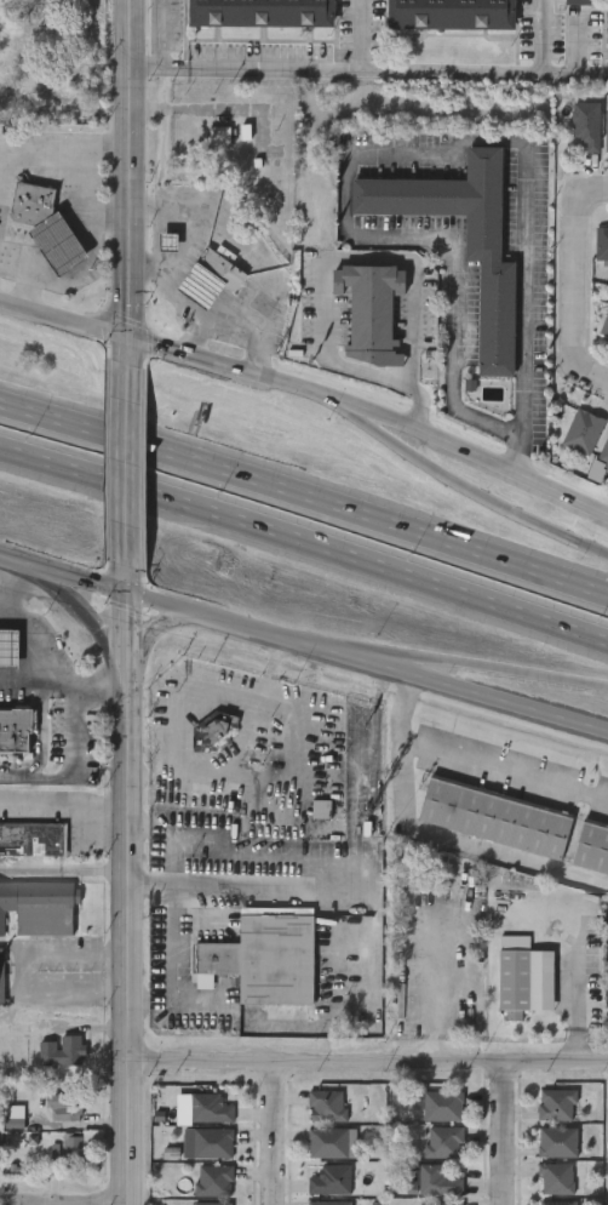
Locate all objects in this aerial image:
building: (581, 1)
building: (258, 12)
building: (448, 13)
building: (606, 22)
road: (157, 36)
road: (357, 36)
road: (546, 36)
road: (368, 74)
building: (46, 88)
building: (15, 101)
building: (40, 104)
building: (585, 124)
building: (604, 130)
building: (573, 137)
building: (207, 148)
road: (406, 158)
road: (127, 169)
road: (76, 172)
road: (591, 189)
building: (27, 204)
road: (199, 217)
building: (601, 242)
building: (56, 244)
gas station: (56, 244)
building: (156, 253)
road: (355, 256)
building: (491, 261)
building: (218, 267)
road: (254, 267)
road: (82, 269)
road: (575, 280)
road: (16, 282)
building: (199, 286)
gas station: (199, 286)
road: (166, 287)
building: (367, 312)
road: (62, 319)
building: (604, 325)
road: (233, 333)
traffic signals: (126, 337)
road: (126, 350)
road: (592, 377)
road: (372, 410)
road: (371, 423)
building: (584, 432)
building: (570, 444)
building: (604, 455)
road: (125, 466)
road: (304, 496)
road: (501, 507)
road: (304, 541)
road: (124, 579)
road: (15, 590)
traffic signals: (124, 593)
road: (85, 618)
road: (147, 638)
road: (304, 643)
building: (7, 649)
gas station: (7, 649)
road: (403, 659)
road: (377, 661)
road: (526, 672)
road: (21, 676)
road: (44, 676)
road: (199, 692)
building: (16, 729)
building: (214, 733)
road: (40, 741)
road: (474, 756)
road: (277, 777)
building: (493, 818)
building: (308, 821)
building: (31, 838)
building: (591, 846)
road: (339, 880)
road: (131, 898)
building: (39, 906)
building: (266, 958)
road: (19, 975)
building: (2, 977)
building: (512, 982)
road: (562, 1007)
building: (63, 1052)
road: (371, 1062)
building: (50, 1063)
building: (441, 1104)
building: (555, 1104)
building: (64, 1106)
building: (325, 1106)
building: (211, 1109)
building: (544, 1115)
building: (52, 1117)
building: (314, 1118)
building: (430, 1118)
building: (197, 1120)
road: (269, 1133)
road: (499, 1133)
building: (5, 1135)
building: (326, 1142)
building: (442, 1142)
building: (556, 1142)
building: (206, 1143)
building: (78, 1144)
building: (430, 1154)
building: (545, 1154)
building: (195, 1155)
building: (65, 1157)
building: (555, 1178)
building: (328, 1181)
building: (214, 1182)
building: (436, 1182)
building: (327, 1203)
building: (557, 1203)
building: (210, 1204)
building: (440, 1204)

